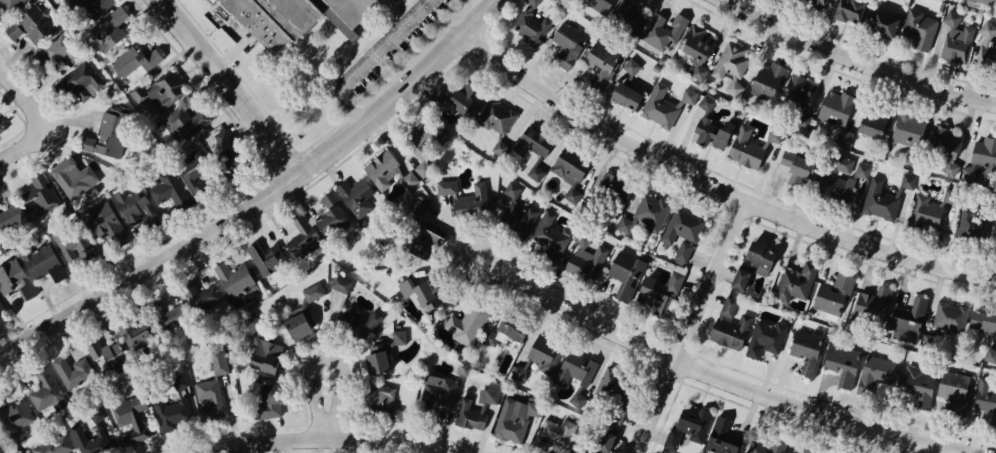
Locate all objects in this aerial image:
building: (991, 1)
building: (819, 2)
road: (481, 5)
building: (599, 5)
building: (9, 7)
building: (90, 7)
building: (352, 8)
building: (845, 8)
building: (627, 17)
building: (271, 18)
building: (878, 21)
building: (29, 24)
building: (531, 25)
building: (918, 28)
building: (664, 31)
building: (114, 32)
building: (956, 38)
building: (568, 43)
building: (984, 48)
building: (626, 49)
building: (697, 49)
building: (51, 52)
building: (139, 58)
road: (372, 58)
building: (662, 59)
road: (860, 59)
building: (600, 63)
building: (731, 64)
building: (655, 67)
building: (769, 78)
building: (77, 81)
road: (234, 85)
building: (626, 87)
building: (163, 89)
building: (458, 96)
road: (26, 97)
building: (437, 99)
building: (798, 99)
building: (664, 105)
building: (836, 111)
building: (189, 117)
building: (874, 120)
building: (495, 121)
building: (709, 127)
building: (1, 129)
building: (106, 134)
building: (908, 134)
building: (1, 138)
road: (26, 146)
building: (945, 146)
building: (532, 148)
building: (749, 148)
building: (419, 149)
building: (232, 152)
building: (981, 156)
building: (799, 167)
building: (75, 168)
building: (568, 171)
building: (197, 172)
building: (389, 174)
building: (842, 177)
building: (410, 180)
road: (716, 184)
building: (443, 186)
building: (34, 189)
building: (171, 190)
building: (358, 194)
building: (609, 194)
road: (263, 198)
building: (886, 200)
building: (469, 202)
building: (134, 207)
building: (929, 208)
building: (414, 209)
building: (9, 210)
building: (329, 211)
building: (516, 212)
building: (646, 213)
building: (973, 222)
building: (105, 223)
building: (683, 231)
building: (301, 233)
building: (550, 235)
building: (419, 239)
building: (75, 246)
building: (267, 255)
building: (584, 259)
building: (44, 263)
building: (752, 264)
building: (625, 272)
building: (15, 279)
building: (236, 281)
building: (794, 281)
building: (339, 283)
building: (416, 290)
building: (313, 292)
building: (659, 294)
building: (833, 294)
building: (202, 298)
building: (872, 305)
building: (2, 308)
building: (168, 313)
building: (359, 321)
building: (249, 322)
building: (908, 322)
building: (946, 322)
building: (297, 323)
building: (462, 324)
road: (694, 326)
building: (731, 326)
building: (504, 329)
building: (131, 335)
building: (765, 340)
building: (988, 340)
building: (104, 349)
building: (807, 353)
building: (538, 357)
building: (264, 359)
building: (218, 360)
building: (378, 360)
building: (77, 365)
building: (843, 366)
building: (875, 373)
building: (574, 375)
road: (723, 378)
building: (180, 383)
building: (918, 388)
building: (954, 388)
building: (439, 389)
building: (40, 390)
building: (615, 390)
building: (202, 392)
building: (986, 398)
building: (267, 401)
building: (377, 404)
road: (331, 406)
building: (97, 415)
building: (165, 415)
building: (15, 418)
building: (472, 418)
building: (512, 419)
building: (130, 421)
building: (693, 421)
building: (554, 433)
building: (0, 435)
road: (328, 437)
building: (671, 438)
building: (721, 439)
building: (89, 440)
building: (602, 440)
building: (53, 445)
building: (764, 446)
building: (579, 450)
building: (807, 451)
building: (21, 452)

